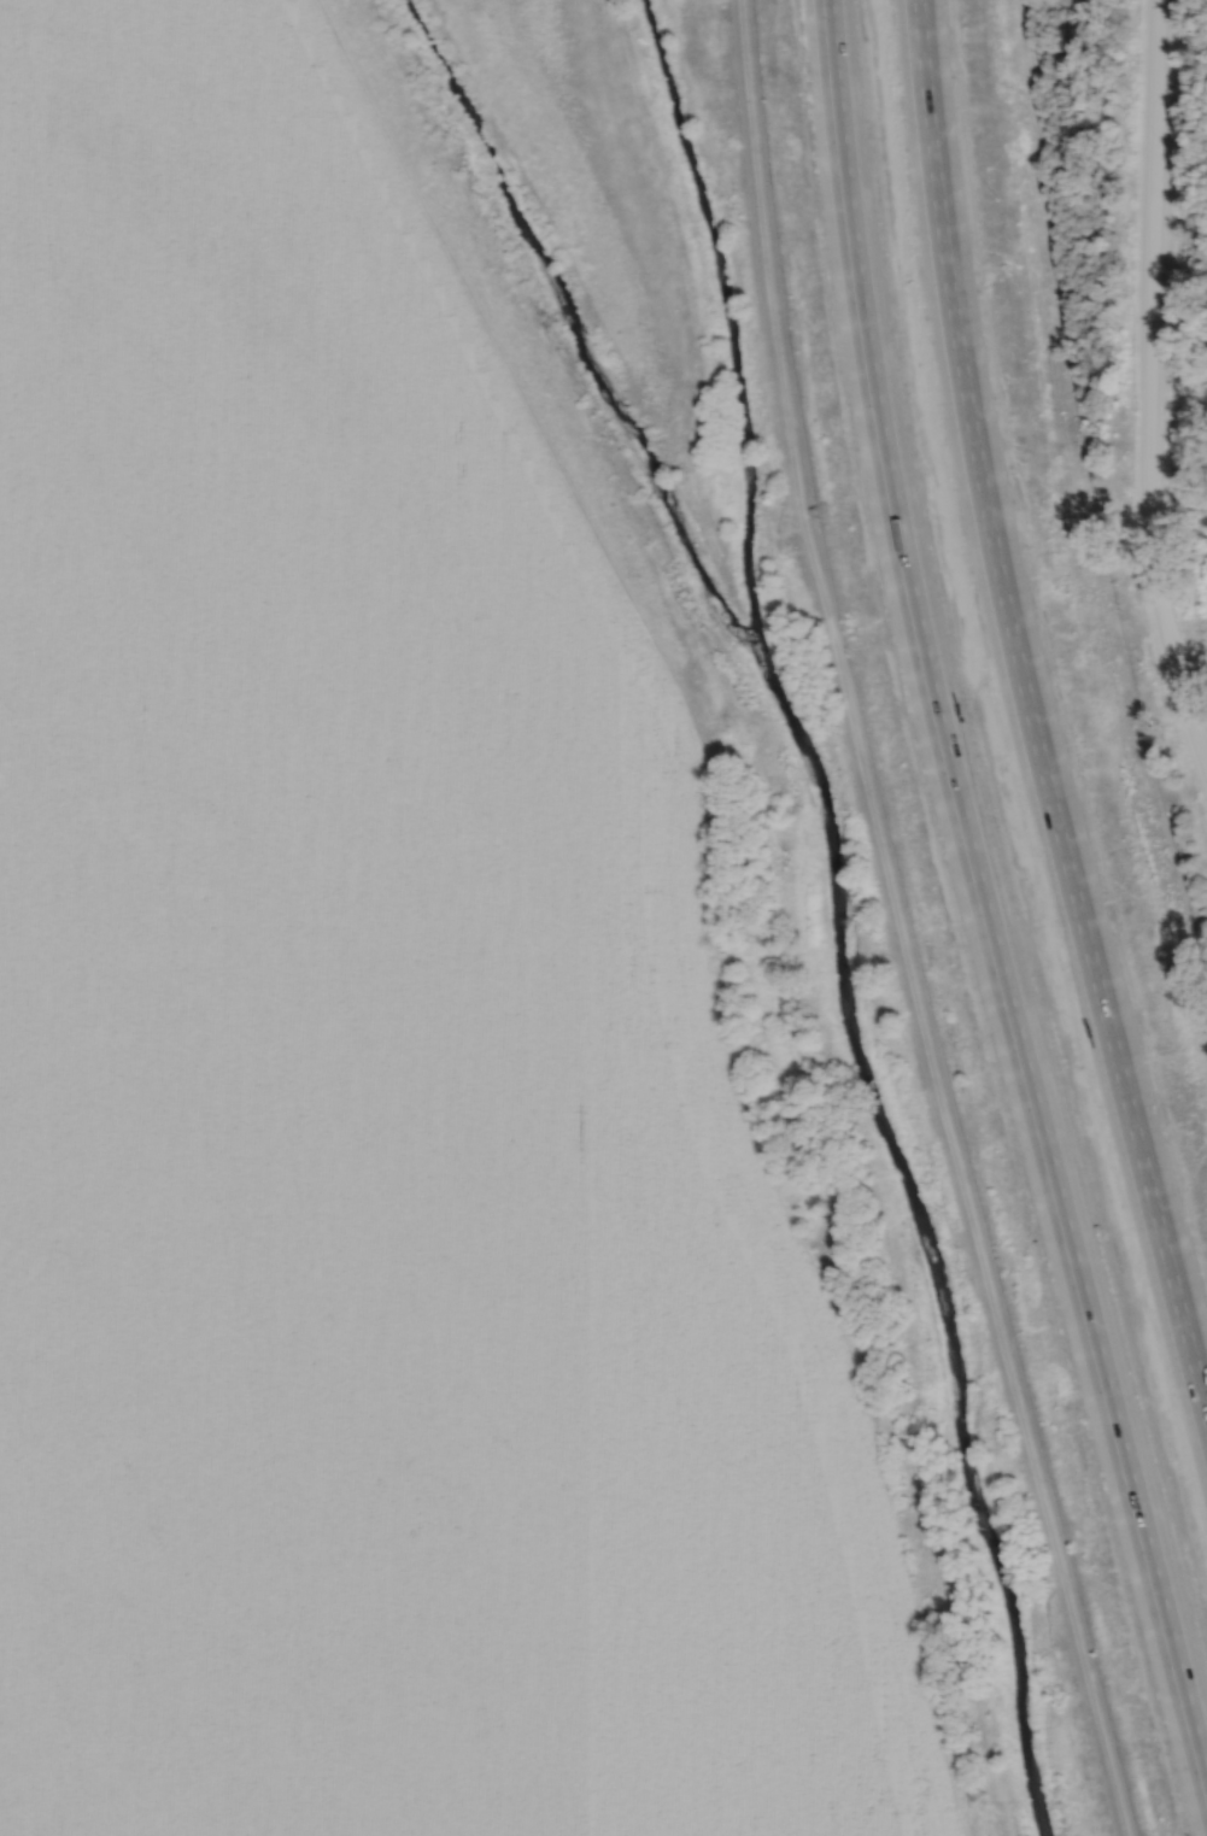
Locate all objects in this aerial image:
road: (1150, 385)
road: (1042, 669)
road: (997, 845)
road: (903, 923)
river: (928, 1243)

